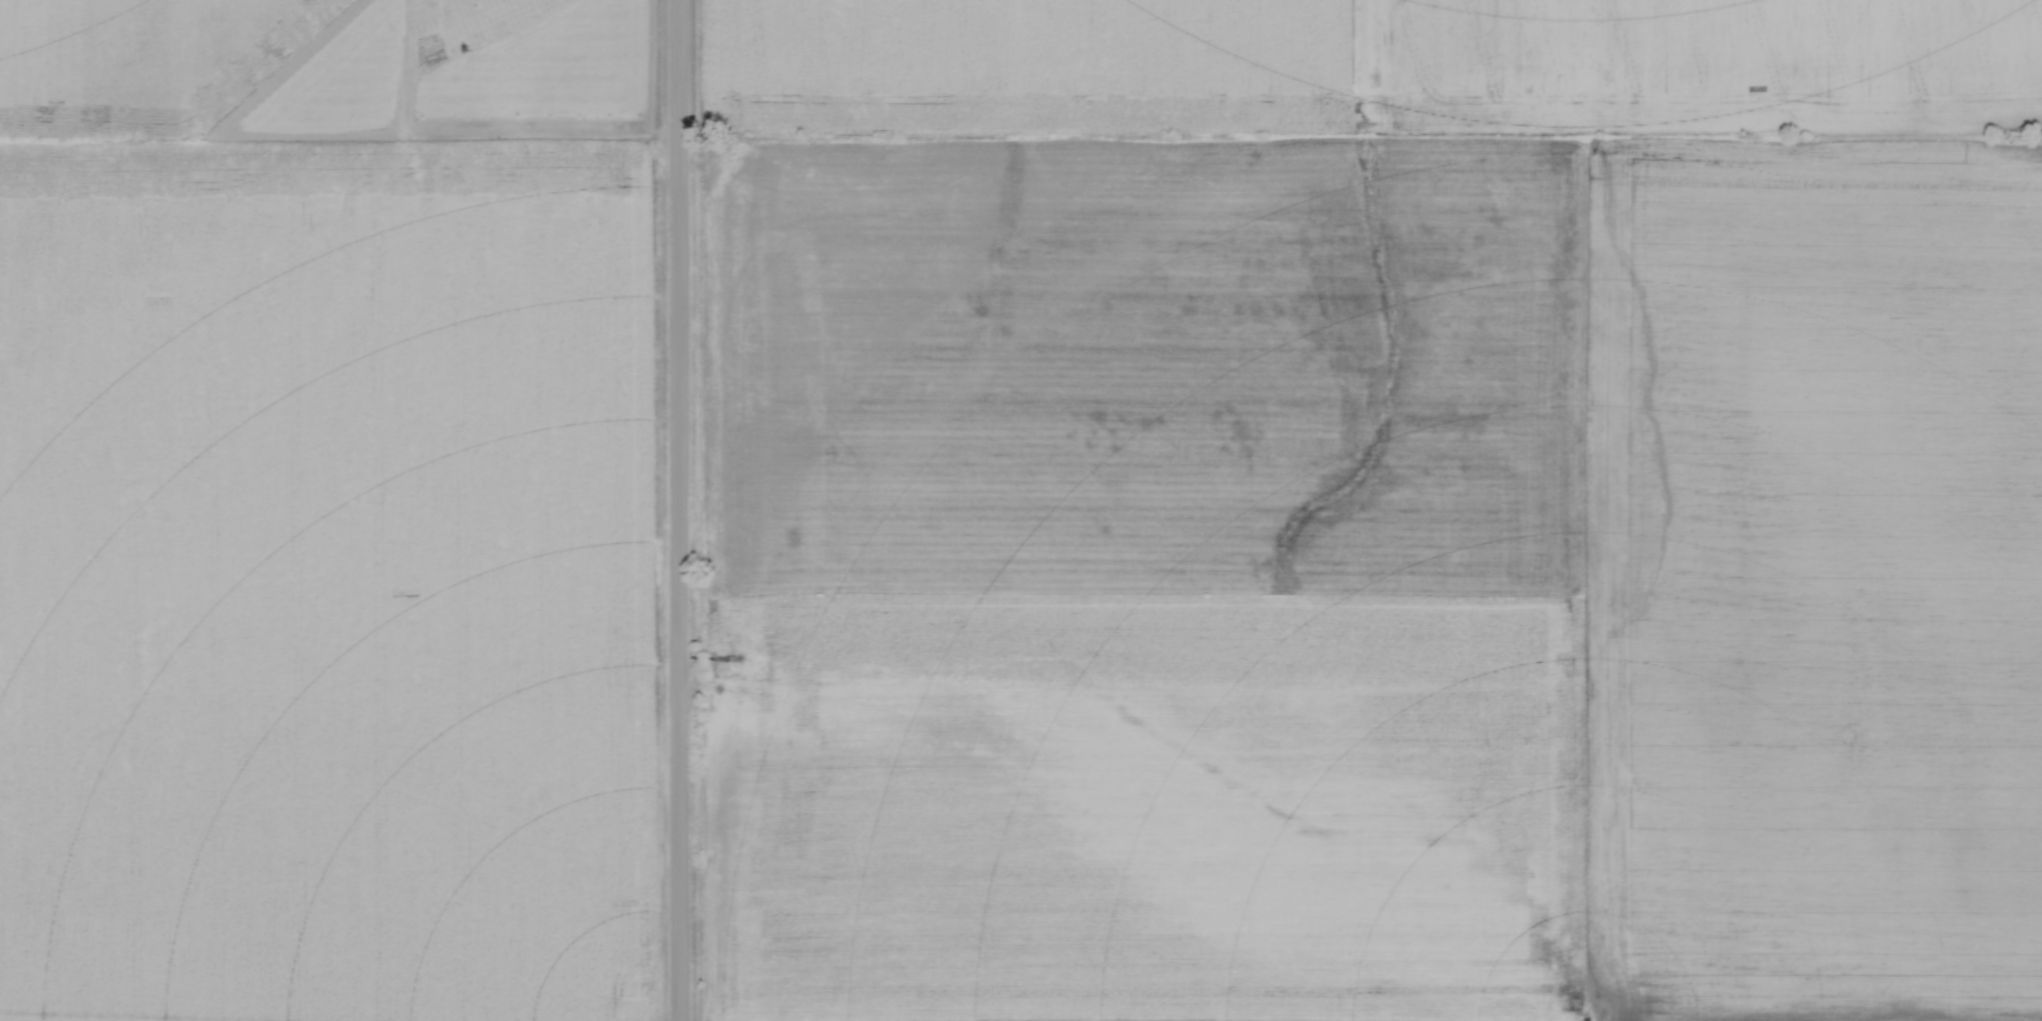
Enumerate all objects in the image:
road: (673, 510)

